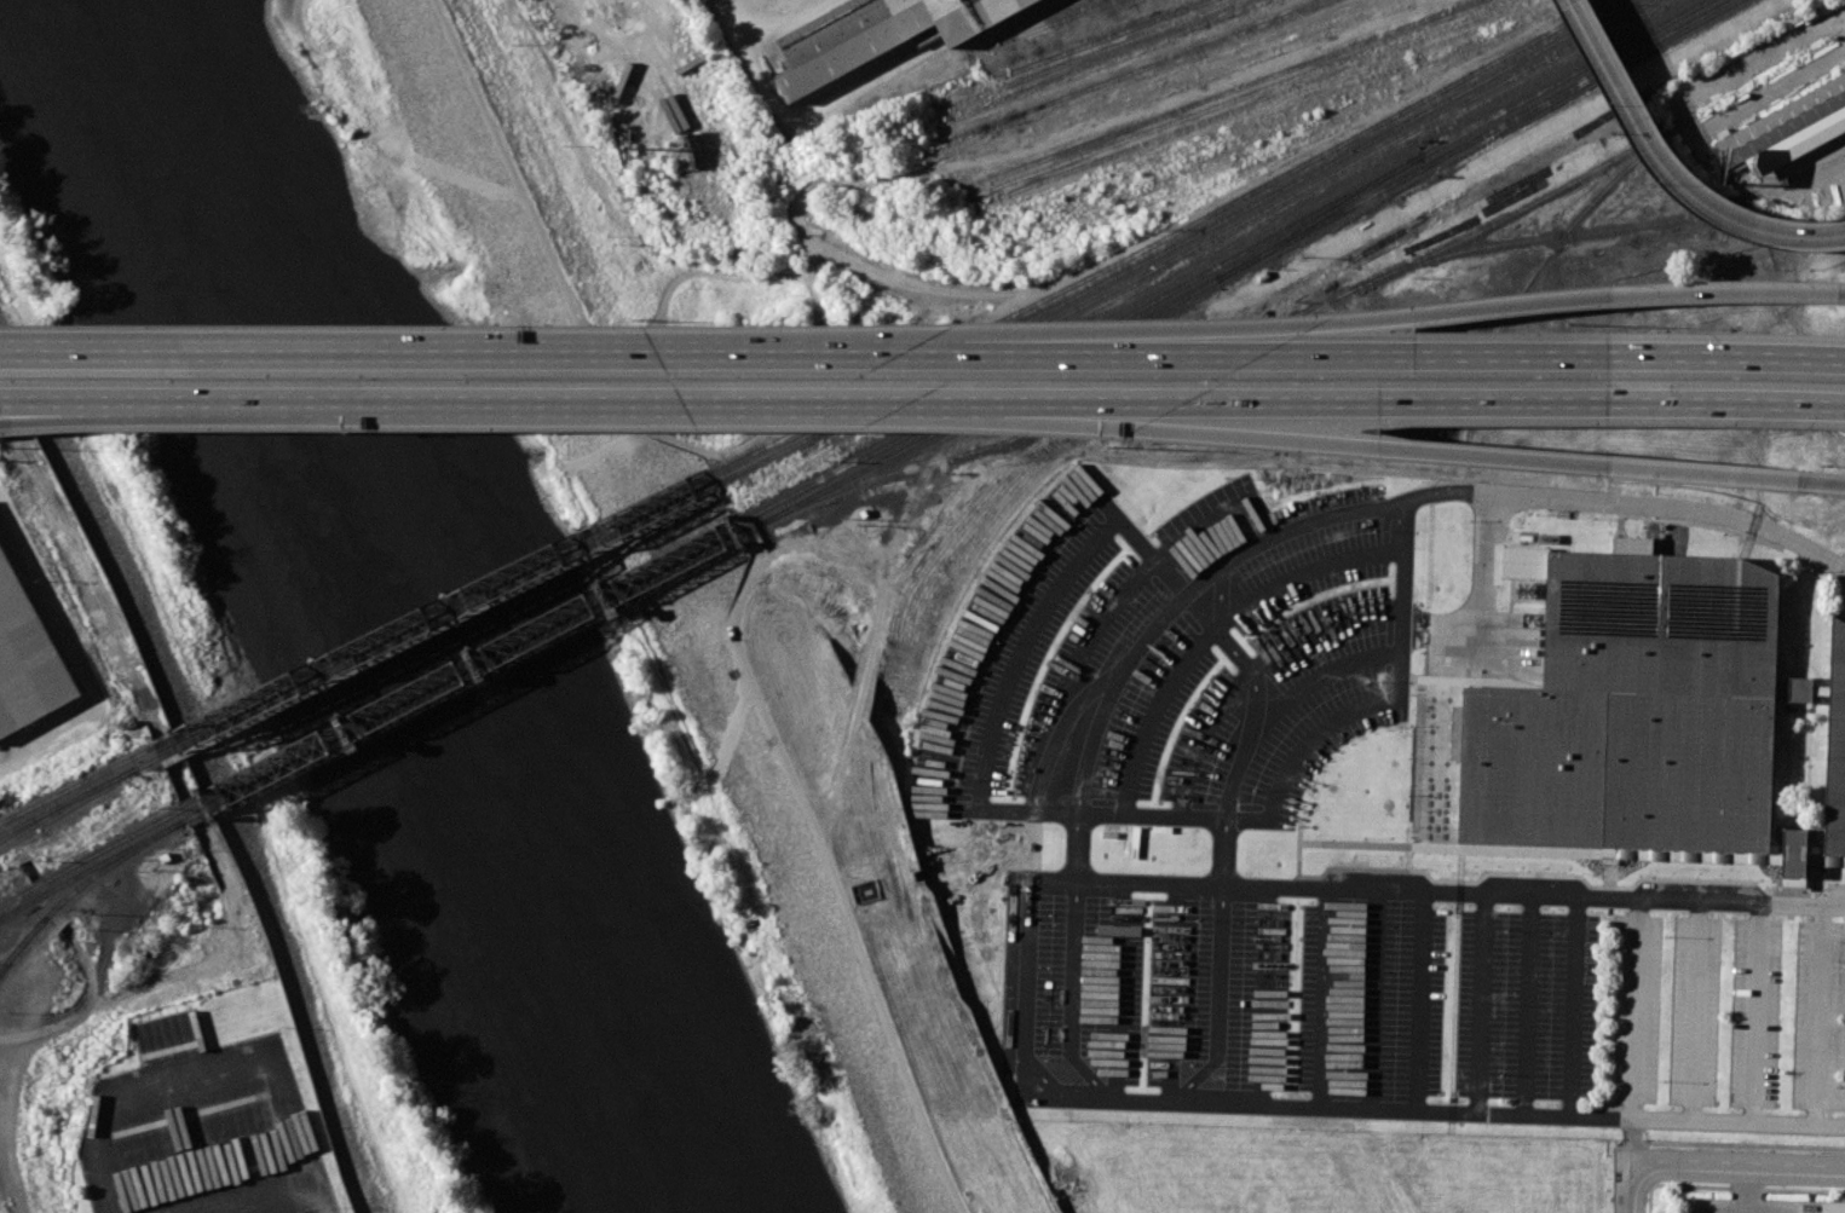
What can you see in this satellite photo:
railway: (1059, 21)
road: (777, 22)
building: (875, 35)
railway: (1082, 46)
railway: (1084, 57)
railway: (1099, 62)
railway: (1131, 71)
railway: (867, 74)
railway: (1224, 93)
railway: (1239, 98)
railway: (1253, 103)
street lamp: (1610, 103)
building: (1782, 122)
building: (1797, 143)
railway: (1308, 161)
road: (1668, 169)
street lamp: (1668, 193)
railway: (1409, 195)
railway: (1324, 214)
railway: (1605, 229)
railway: (1176, 244)
street lamp: (1755, 244)
railway: (1189, 250)
railway: (1545, 256)
railway: (1222, 262)
railway: (1236, 267)
railway: (1318, 304)
road: (1431, 310)
road: (511, 356)
road: (1432, 357)
road: (8, 398)
road: (8, 399)
road: (538, 402)
road: (1453, 402)
road: (680, 443)
road: (1445, 451)
road: (1838, 484)
road: (1529, 496)
road: (1487, 574)
river: (407, 600)
railway: (433, 610)
railway: (439, 620)
road: (1164, 623)
road: (1198, 643)
road: (1021, 647)
building: (28, 657)
parking lot: (1163, 660)
railway: (460, 665)
road: (869, 669)
railway: (466, 676)
building: (1800, 689)
building: (1638, 715)
road: (1258, 727)
road: (1301, 749)
building: (1837, 751)
railway: (77, 784)
railway: (80, 796)
road: (805, 803)
railway: (68, 807)
railway: (91, 856)
railway: (93, 868)
railway: (104, 868)
road: (19, 871)
railway: (22, 942)
railway: (22, 946)
parking lot: (1425, 987)
road: (1031, 989)
road: (1071, 997)
road: (1378, 1001)
road: (1217, 1003)
road: (1420, 1003)
road: (88, 1004)
road: (1481, 1005)
road: (1527, 1007)
road: (1574, 1009)
road: (1636, 1011)
road: (1696, 1013)
road: (1757, 1016)
road: (1820, 1017)
road: (5, 1039)
road: (220, 1076)
road: (6, 1127)
parking lot: (203, 1128)
road: (1735, 1169)
road: (1625, 1189)
building: (1833, 1207)
parking lot: (1719, 1208)

